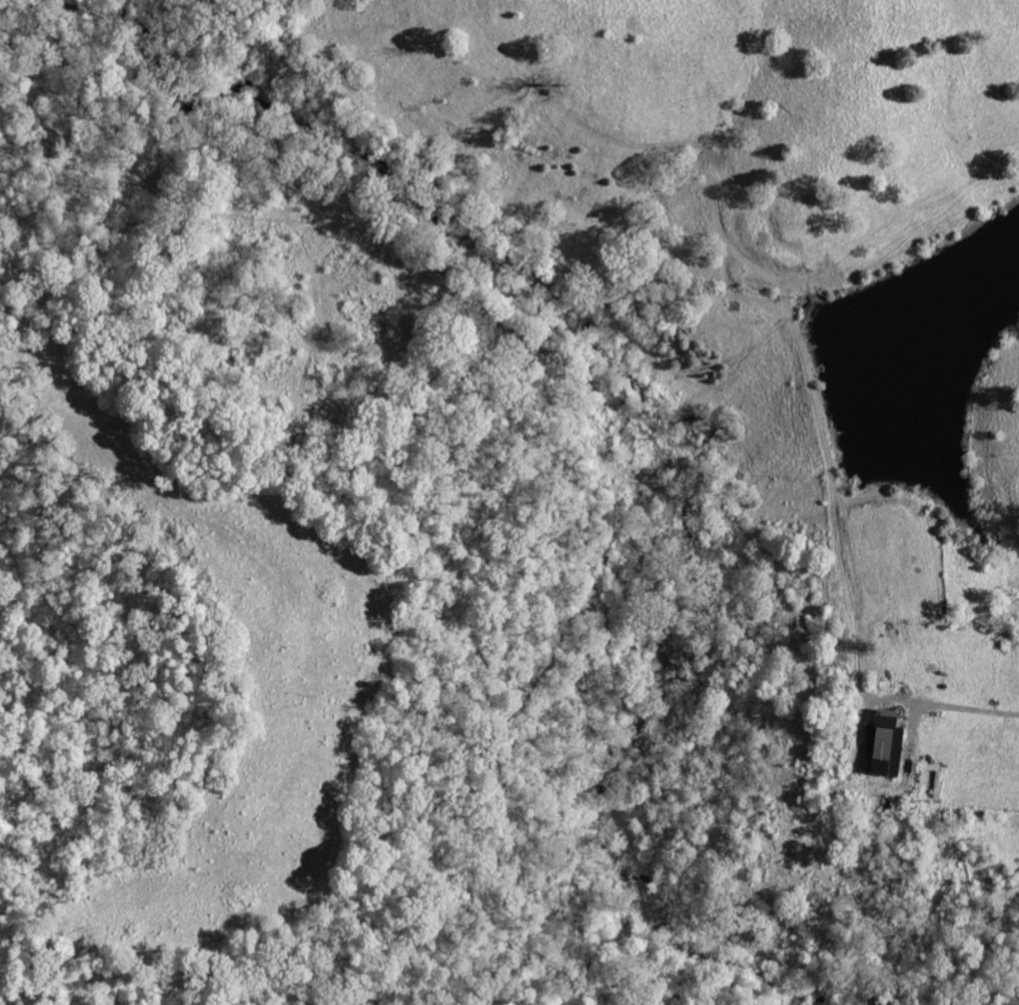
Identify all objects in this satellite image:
road: (976, 707)
building: (883, 745)

